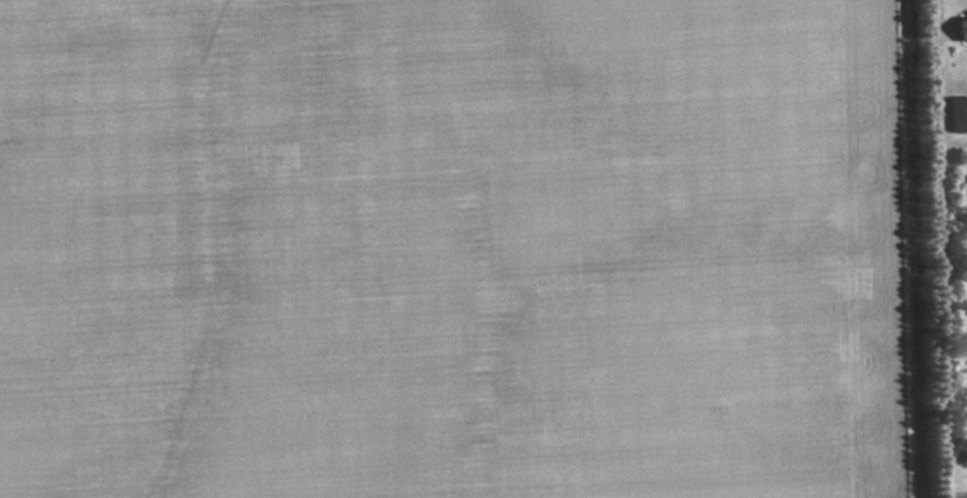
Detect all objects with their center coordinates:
building: (963, 30)
building: (959, 116)

